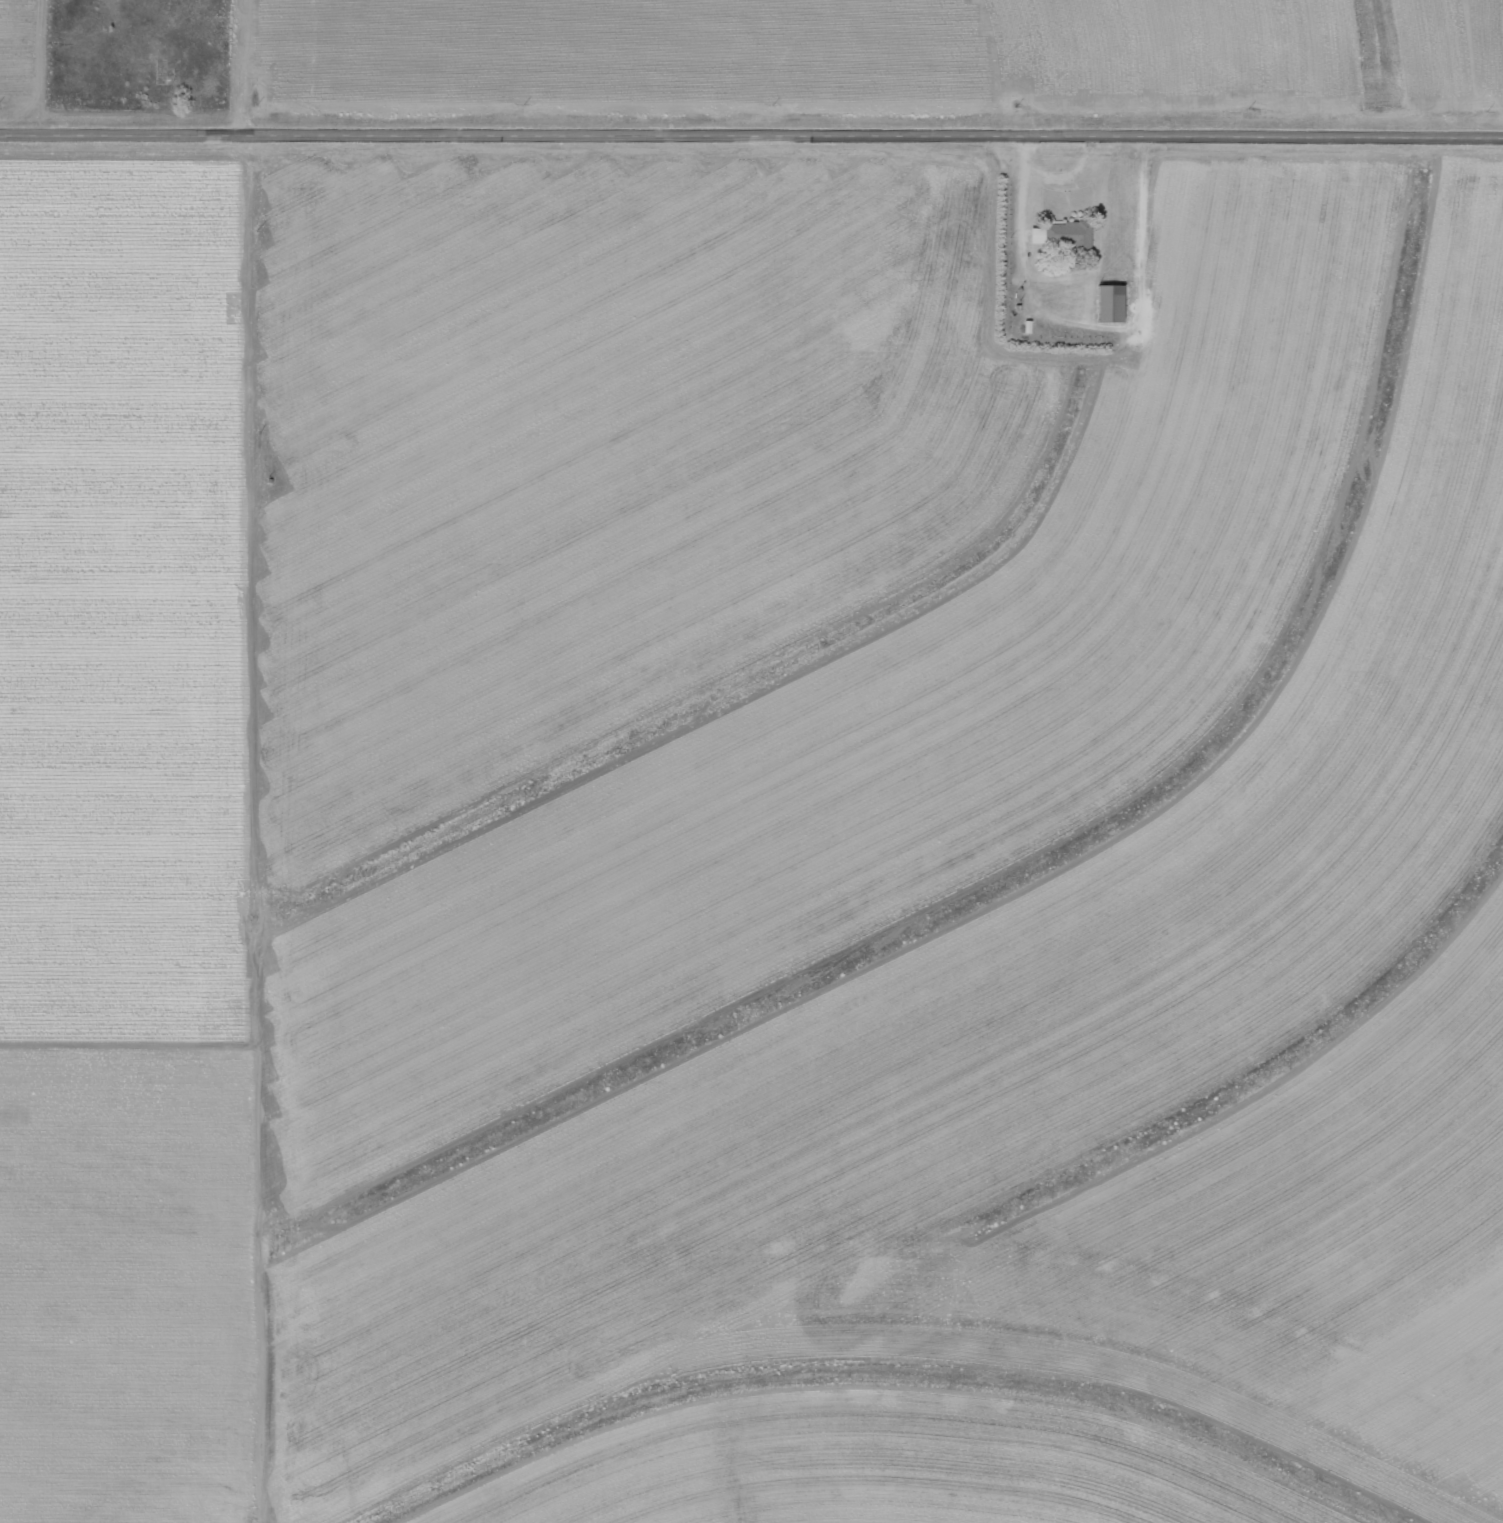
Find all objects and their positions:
road: (751, 146)

